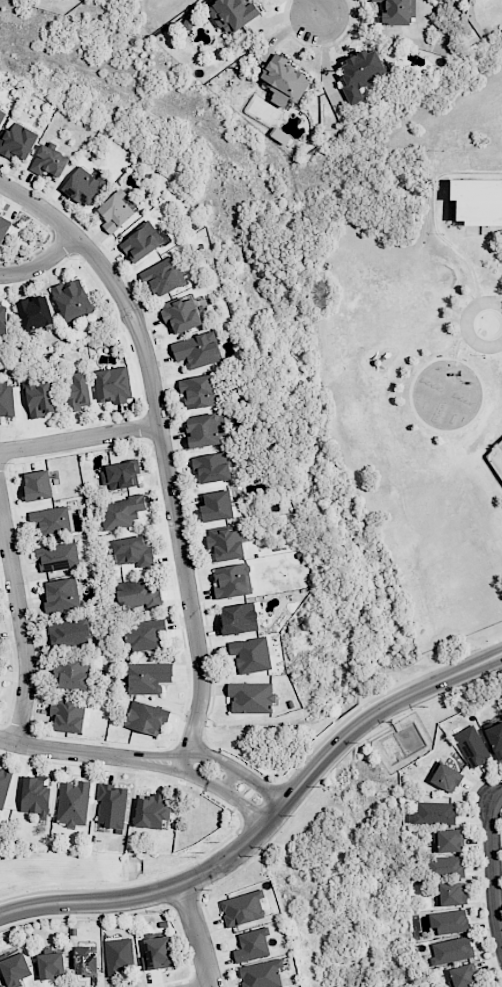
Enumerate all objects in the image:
road: (314, 7)
building: (398, 11)
building: (233, 13)
building: (188, 23)
road: (324, 61)
building: (361, 73)
building: (284, 81)
building: (17, 141)
building: (49, 161)
building: (84, 185)
building: (477, 200)
building: (115, 212)
building: (4, 227)
building: (141, 242)
road: (41, 262)
building: (164, 276)
building: (72, 300)
building: (35, 313)
building: (181, 313)
building: (3, 320)
building: (196, 350)
building: (113, 385)
building: (198, 391)
building: (77, 392)
building: (38, 397)
building: (6, 399)
building: (204, 430)
road: (79, 438)
road: (163, 448)
building: (211, 467)
building: (120, 475)
building: (38, 485)
building: (217, 506)
building: (121, 512)
building: (51, 521)
building: (225, 543)
building: (133, 551)
building: (57, 557)
building: (232, 581)
building: (134, 594)
building: (60, 595)
building: (238, 619)
road: (20, 623)
building: (70, 632)
building: (144, 635)
building: (250, 654)
building: (72, 674)
building: (147, 677)
building: (251, 697)
building: (67, 715)
building: (146, 718)
building: (495, 739)
building: (472, 746)
road: (72, 751)
road: (192, 752)
road: (185, 773)
building: (446, 777)
road: (229, 779)
building: (4, 785)
road: (261, 786)
building: (35, 795)
road: (496, 796)
building: (73, 803)
building: (111, 805)
road: (243, 807)
building: (151, 810)
building: (433, 813)
road: (267, 822)
building: (449, 840)
building: (442, 866)
road: (492, 875)
crop: (351, 881)
building: (451, 894)
building: (242, 908)
building: (449, 921)
road: (198, 935)
building: (252, 945)
building: (451, 950)
building: (157, 953)
building: (118, 956)
building: (85, 961)
building: (51, 965)
building: (15, 969)
building: (261, 974)
building: (463, 976)

